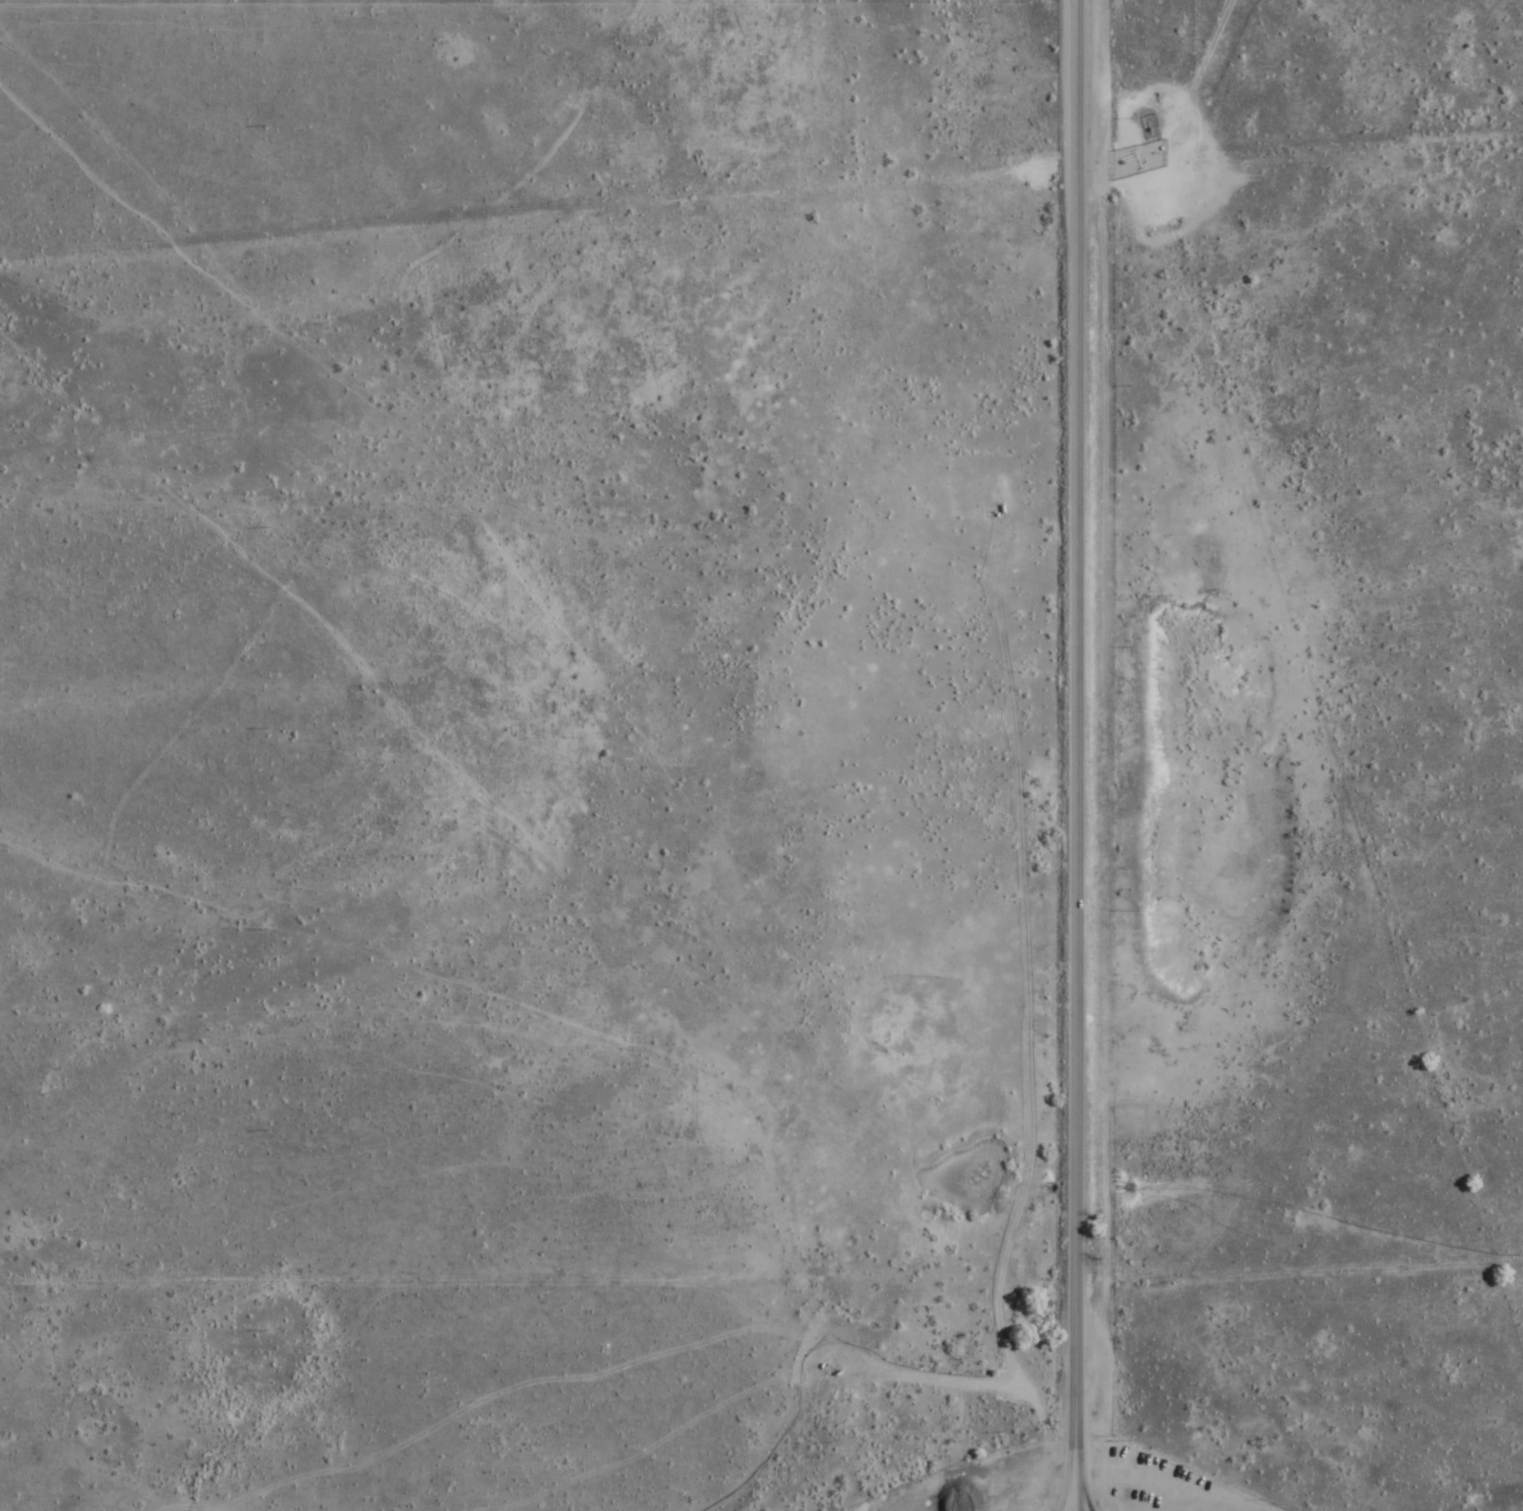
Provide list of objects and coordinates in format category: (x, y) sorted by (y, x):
road: (1079, 755)
road: (1064, 1495)
road: (1084, 1495)

